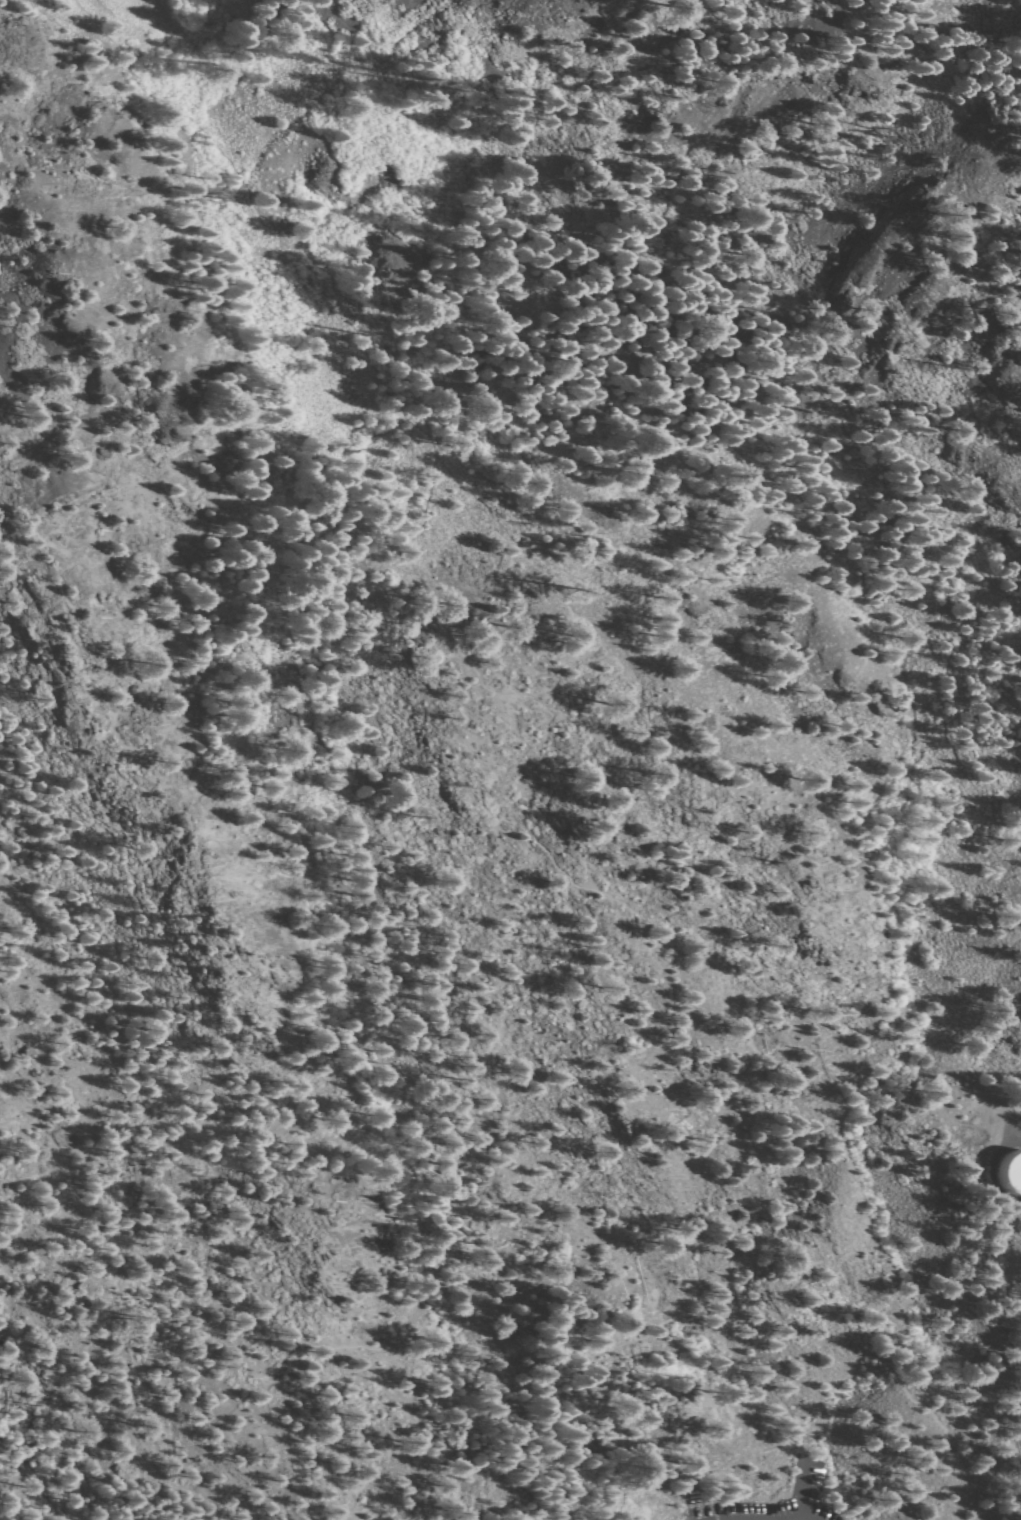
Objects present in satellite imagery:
road: (231, 572)
water tower: (1009, 1165)
building: (1012, 1173)
road: (20, 1199)
road: (509, 1344)
road: (772, 1384)
road: (1003, 1474)
parking lot: (803, 1482)
road: (792, 1485)
road: (1003, 1487)
road: (978, 1492)

